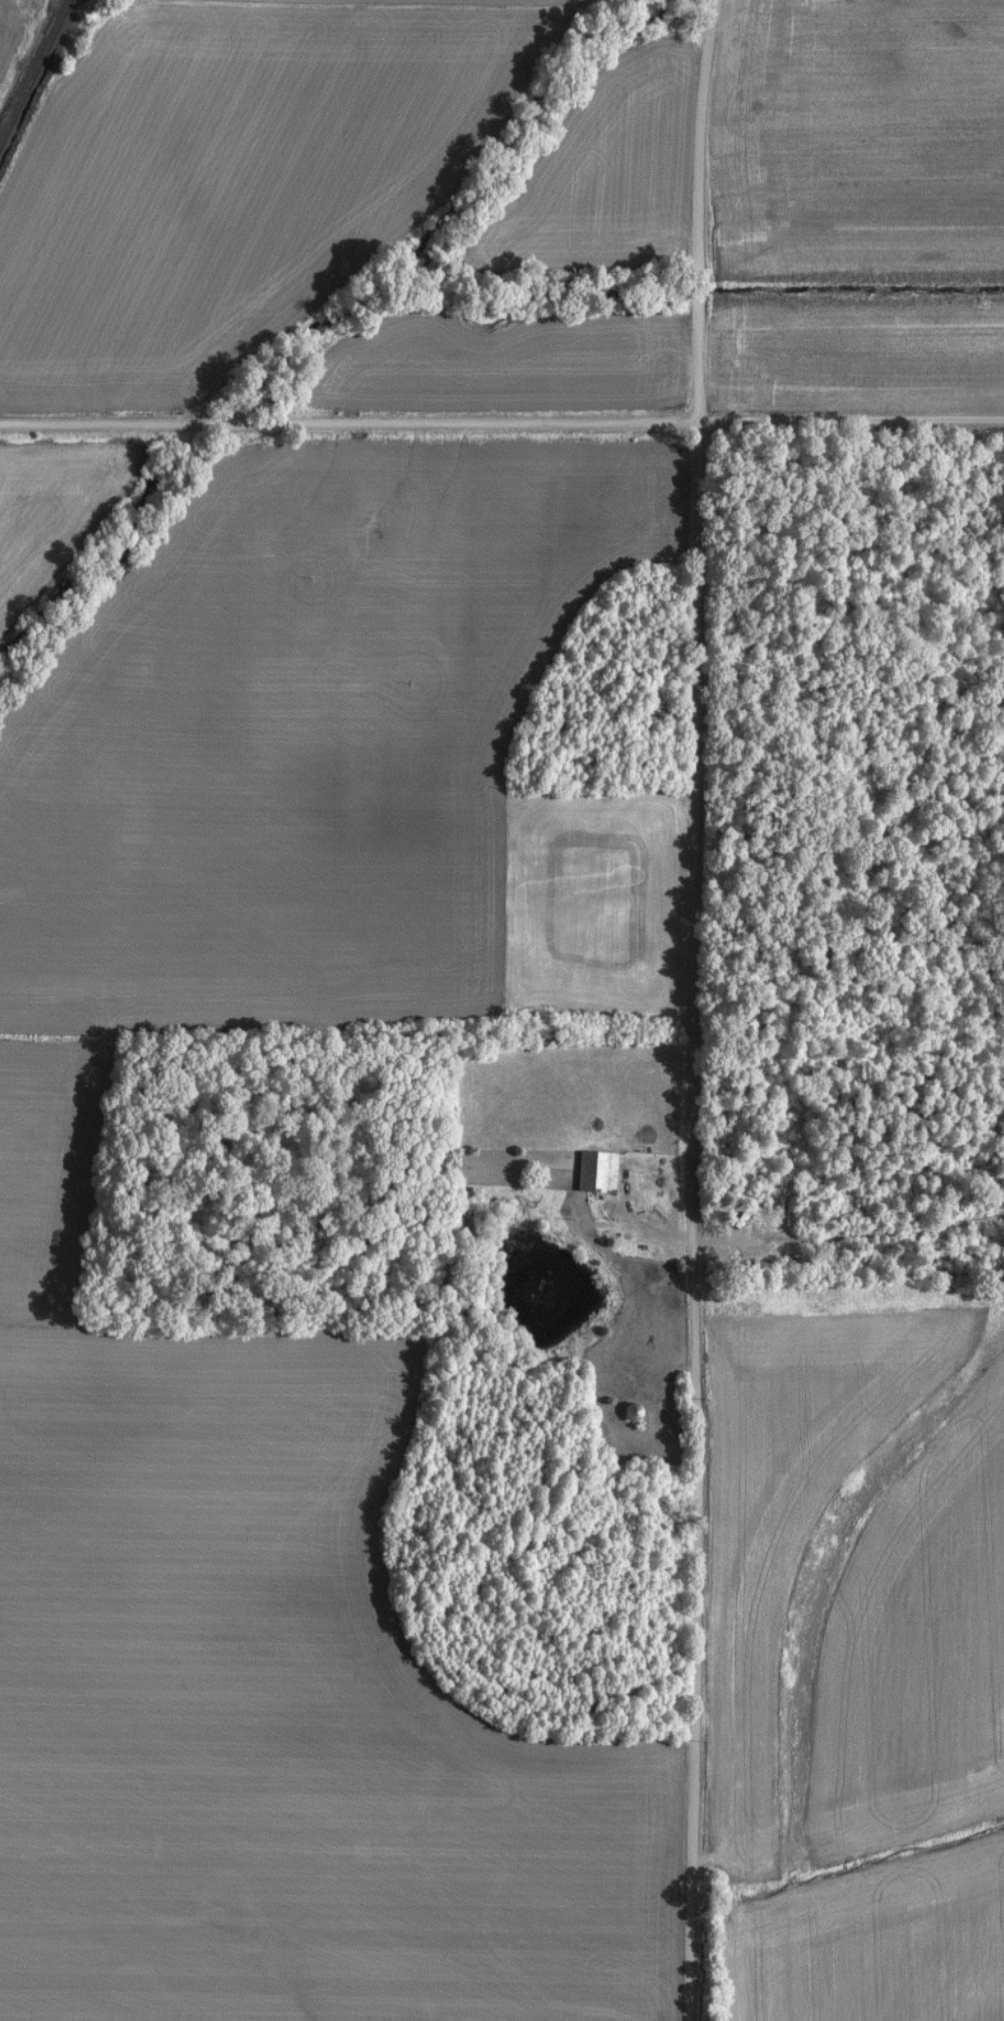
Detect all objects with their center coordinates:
railway: (32, 67)
road: (699, 209)
road: (851, 418)
road: (349, 423)
building: (591, 1172)
road: (696, 1220)
building: (625, 1412)

